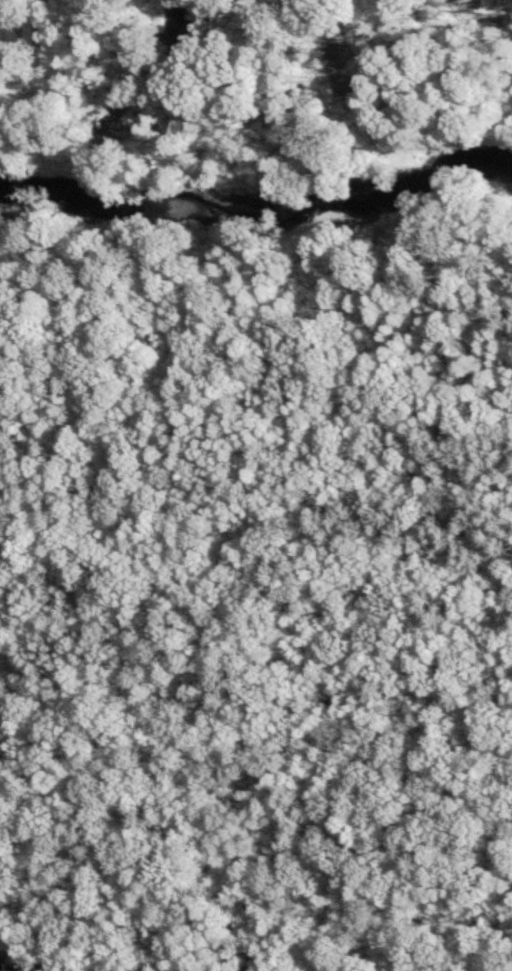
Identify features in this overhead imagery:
river: (259, 202)

